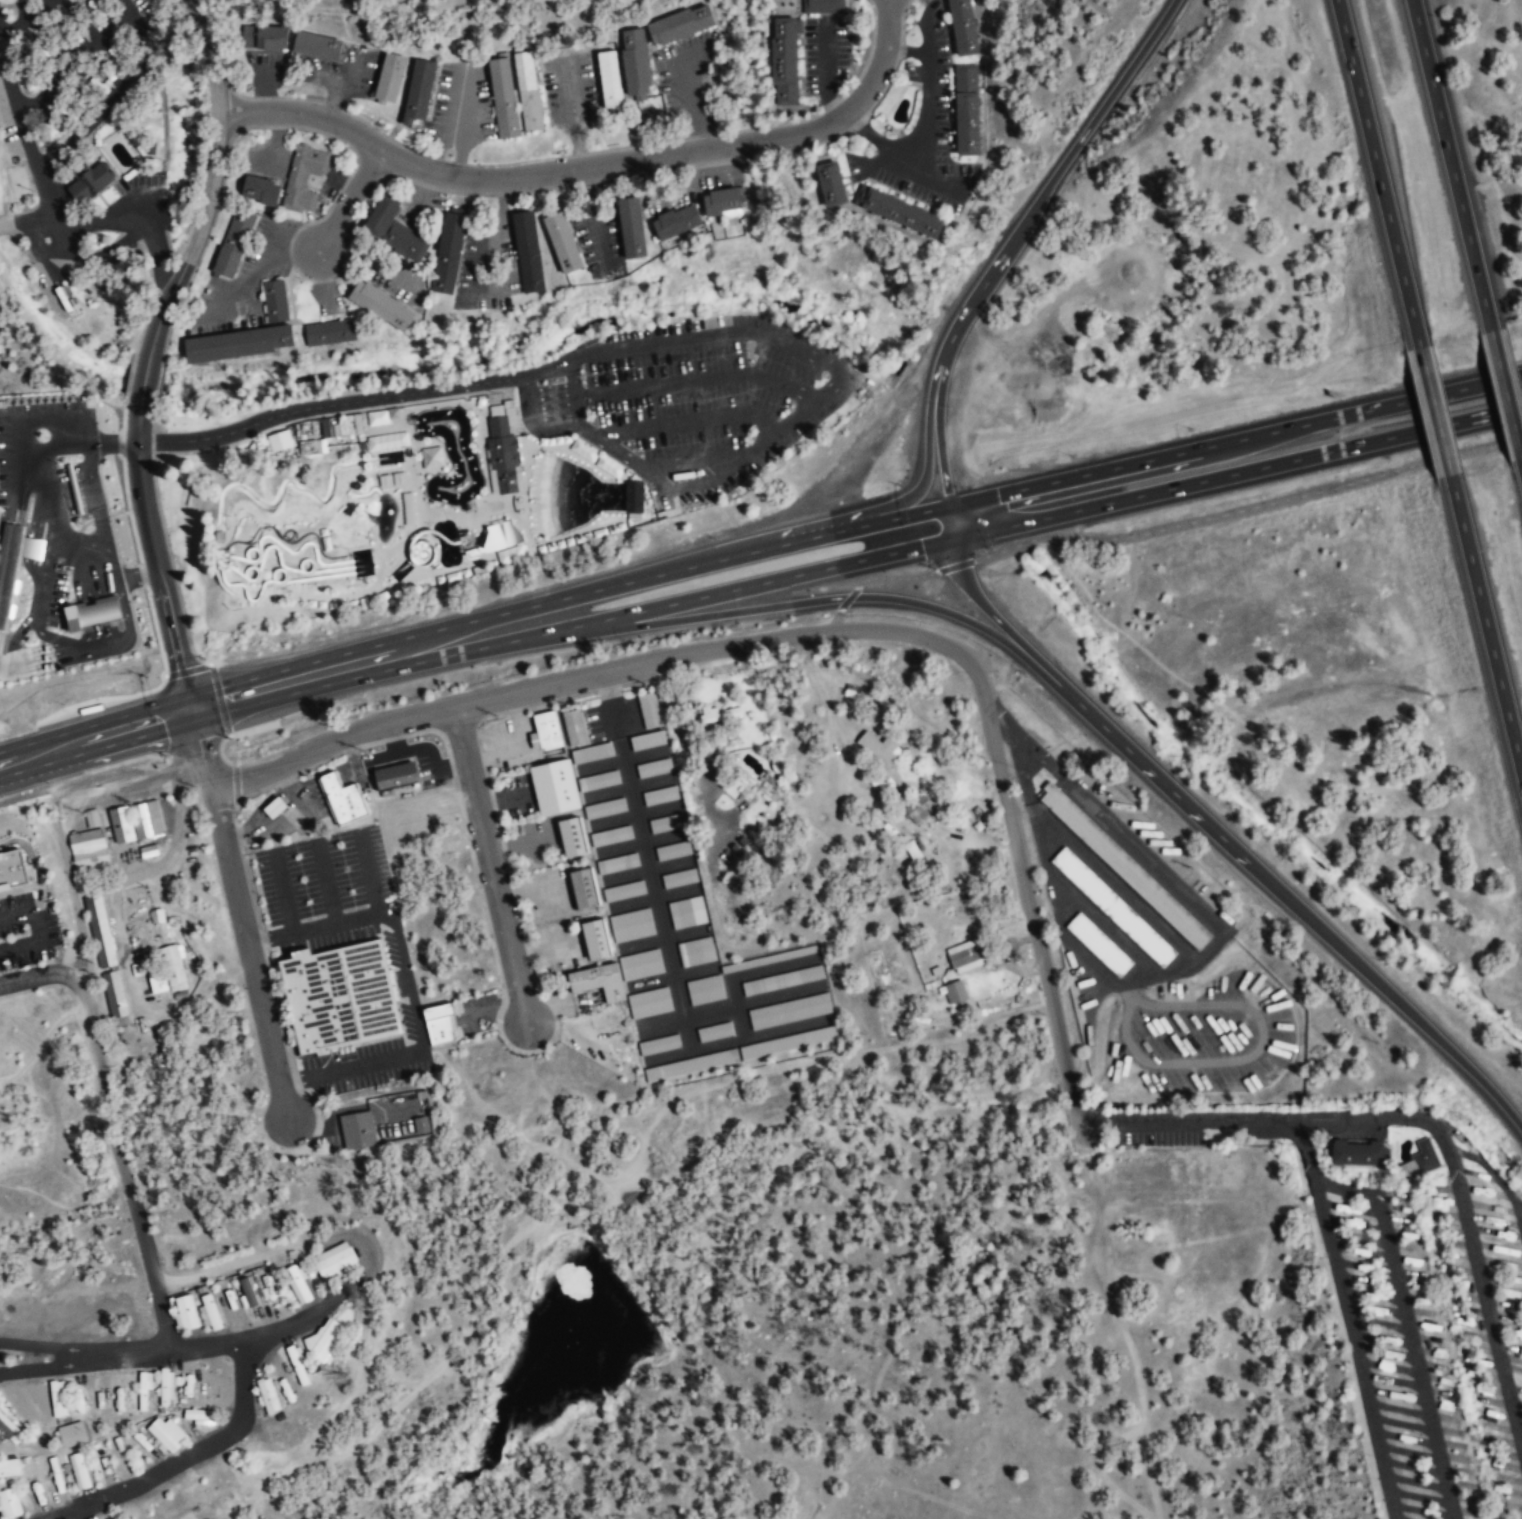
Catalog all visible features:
road: (125, 5)
building: (823, 7)
road: (23, 20)
building: (680, 25)
building: (963, 27)
building: (263, 37)
road: (142, 38)
building: (314, 46)
road: (908, 51)
building: (784, 61)
building: (636, 64)
building: (387, 78)
building: (610, 81)
road: (927, 90)
building: (528, 91)
building: (417, 92)
building: (503, 98)
building: (966, 109)
road: (861, 128)
road: (1452, 165)
road: (591, 166)
road: (1378, 173)
building: (304, 178)
road: (40, 179)
road: (212, 182)
building: (89, 183)
building: (831, 185)
building: (261, 191)
road: (157, 201)
road: (347, 202)
building: (720, 203)
building: (898, 212)
road: (26, 218)
building: (670, 226)
building: (632, 227)
building: (393, 229)
building: (234, 242)
building: (563, 242)
road: (156, 249)
road: (101, 251)
building: (528, 251)
building: (448, 252)
road: (988, 281)
building: (274, 301)
building: (382, 306)
building: (329, 333)
road: (769, 339)
building: (238, 343)
road: (696, 379)
road: (143, 380)
road: (1507, 395)
parking lot: (689, 399)
road: (352, 402)
road: (459, 402)
building: (1, 403)
road: (1435, 411)
road: (321, 416)
road: (411, 416)
building: (379, 418)
road: (28, 421)
road: (687, 422)
road: (532, 424)
road: (586, 430)
building: (386, 441)
road: (1235, 441)
building: (275, 443)
building: (312, 447)
building: (583, 450)
road: (941, 451)
building: (502, 453)
road: (409, 456)
water park: (496, 460)
road: (696, 464)
building: (608, 466)
road: (413, 473)
road: (1237, 474)
road: (71, 477)
road: (72, 486)
road: (24, 487)
building: (74, 489)
road: (75, 494)
road: (347, 496)
building: (633, 497)
road: (46, 503)
road: (76, 503)
road: (471, 504)
road: (59, 508)
road: (1248, 509)
road: (290, 510)
road: (78, 511)
road: (117, 513)
road: (455, 517)
road: (493, 517)
road: (99, 518)
road: (83, 523)
road: (951, 524)
road: (476, 530)
building: (499, 536)
road: (216, 539)
road: (396, 539)
road: (33, 542)
road: (75, 549)
road: (219, 555)
road: (222, 560)
road: (221, 563)
road: (157, 564)
road: (219, 565)
road: (955, 565)
building: (9, 570)
road: (44, 571)
road: (375, 574)
road: (384, 576)
road: (215, 577)
road: (895, 578)
parking lot: (54, 597)
road: (307, 597)
road: (568, 598)
road: (64, 599)
road: (847, 599)
road: (820, 601)
road: (89, 603)
road: (99, 603)
road: (123, 606)
road: (80, 607)
building: (92, 614)
road: (996, 619)
road: (833, 621)
road: (1486, 622)
road: (572, 627)
road: (14, 638)
road: (51, 638)
road: (52, 638)
road: (40, 645)
road: (35, 659)
road: (634, 663)
road: (17, 675)
road: (823, 693)
building: (647, 709)
building: (722, 714)
road: (94, 722)
building: (571, 726)
building: (543, 728)
building: (645, 739)
road: (97, 750)
building: (876, 750)
building: (590, 752)
road: (196, 755)
road: (201, 756)
road: (222, 758)
road: (619, 758)
building: (652, 767)
building: (396, 776)
road: (88, 779)
building: (596, 779)
building: (329, 782)
road: (236, 783)
building: (550, 786)
road: (625, 786)
building: (659, 795)
building: (346, 804)
building: (603, 807)
road: (261, 808)
building: (275, 808)
building: (917, 810)
parking lot: (287, 812)
road: (633, 815)
building: (93, 816)
road: (290, 819)
building: (147, 820)
building: (665, 822)
building: (120, 824)
building: (609, 835)
building: (568, 836)
road: (638, 841)
building: (90, 847)
building: (671, 850)
road: (491, 862)
building: (617, 863)
road: (35, 865)
building: (1125, 867)
road: (644, 868)
building: (11, 870)
road: (31, 870)
road: (368, 873)
parking lot: (323, 874)
building: (677, 877)
road: (326, 883)
road: (25, 887)
building: (579, 887)
building: (624, 891)
road: (284, 892)
road: (652, 897)
road: (1292, 900)
building: (1113, 908)
building: (686, 912)
building: (630, 925)
road: (662, 928)
parking lot: (26, 930)
building: (101, 930)
road: (35, 931)
building: (592, 938)
road: (660, 938)
road: (1035, 940)
building: (1098, 945)
building: (695, 951)
road: (249, 954)
building: (966, 959)
building: (640, 965)
building: (174, 968)
road: (741, 974)
road: (670, 976)
building: (781, 980)
building: (157, 981)
building: (595, 981)
road: (408, 986)
building: (703, 989)
building: (954, 993)
building: (115, 994)
building: (340, 997)
building: (648, 1003)
road: (728, 1006)
building: (788, 1011)
building: (439, 1024)
building: (713, 1031)
parking lot: (1200, 1039)
building: (786, 1042)
road: (40, 1043)
building: (658, 1044)
road: (668, 1055)
road: (726, 1081)
road: (1264, 1123)
building: (422, 1126)
road: (110, 1128)
building: (357, 1130)
building: (1355, 1154)
building: (1419, 1160)
road: (1492, 1174)
road: (1345, 1188)
road: (613, 1252)
building: (335, 1261)
building: (298, 1284)
building: (268, 1289)
road: (1484, 1291)
building: (248, 1292)
building: (250, 1300)
building: (185, 1313)
building: (210, 1313)
road: (1348, 1321)
building: (325, 1344)
road: (187, 1349)
road: (1415, 1357)
building: (298, 1366)
road: (631, 1385)
building: (166, 1389)
building: (144, 1391)
building: (268, 1395)
building: (100, 1397)
building: (57, 1399)
building: (22, 1411)
building: (200, 1417)
road: (376, 1426)
building: (9, 1430)
building: (71, 1434)
building: (166, 1435)
road: (186, 1459)
building: (9, 1467)
building: (79, 1470)
building: (58, 1481)
building: (9, 1504)

